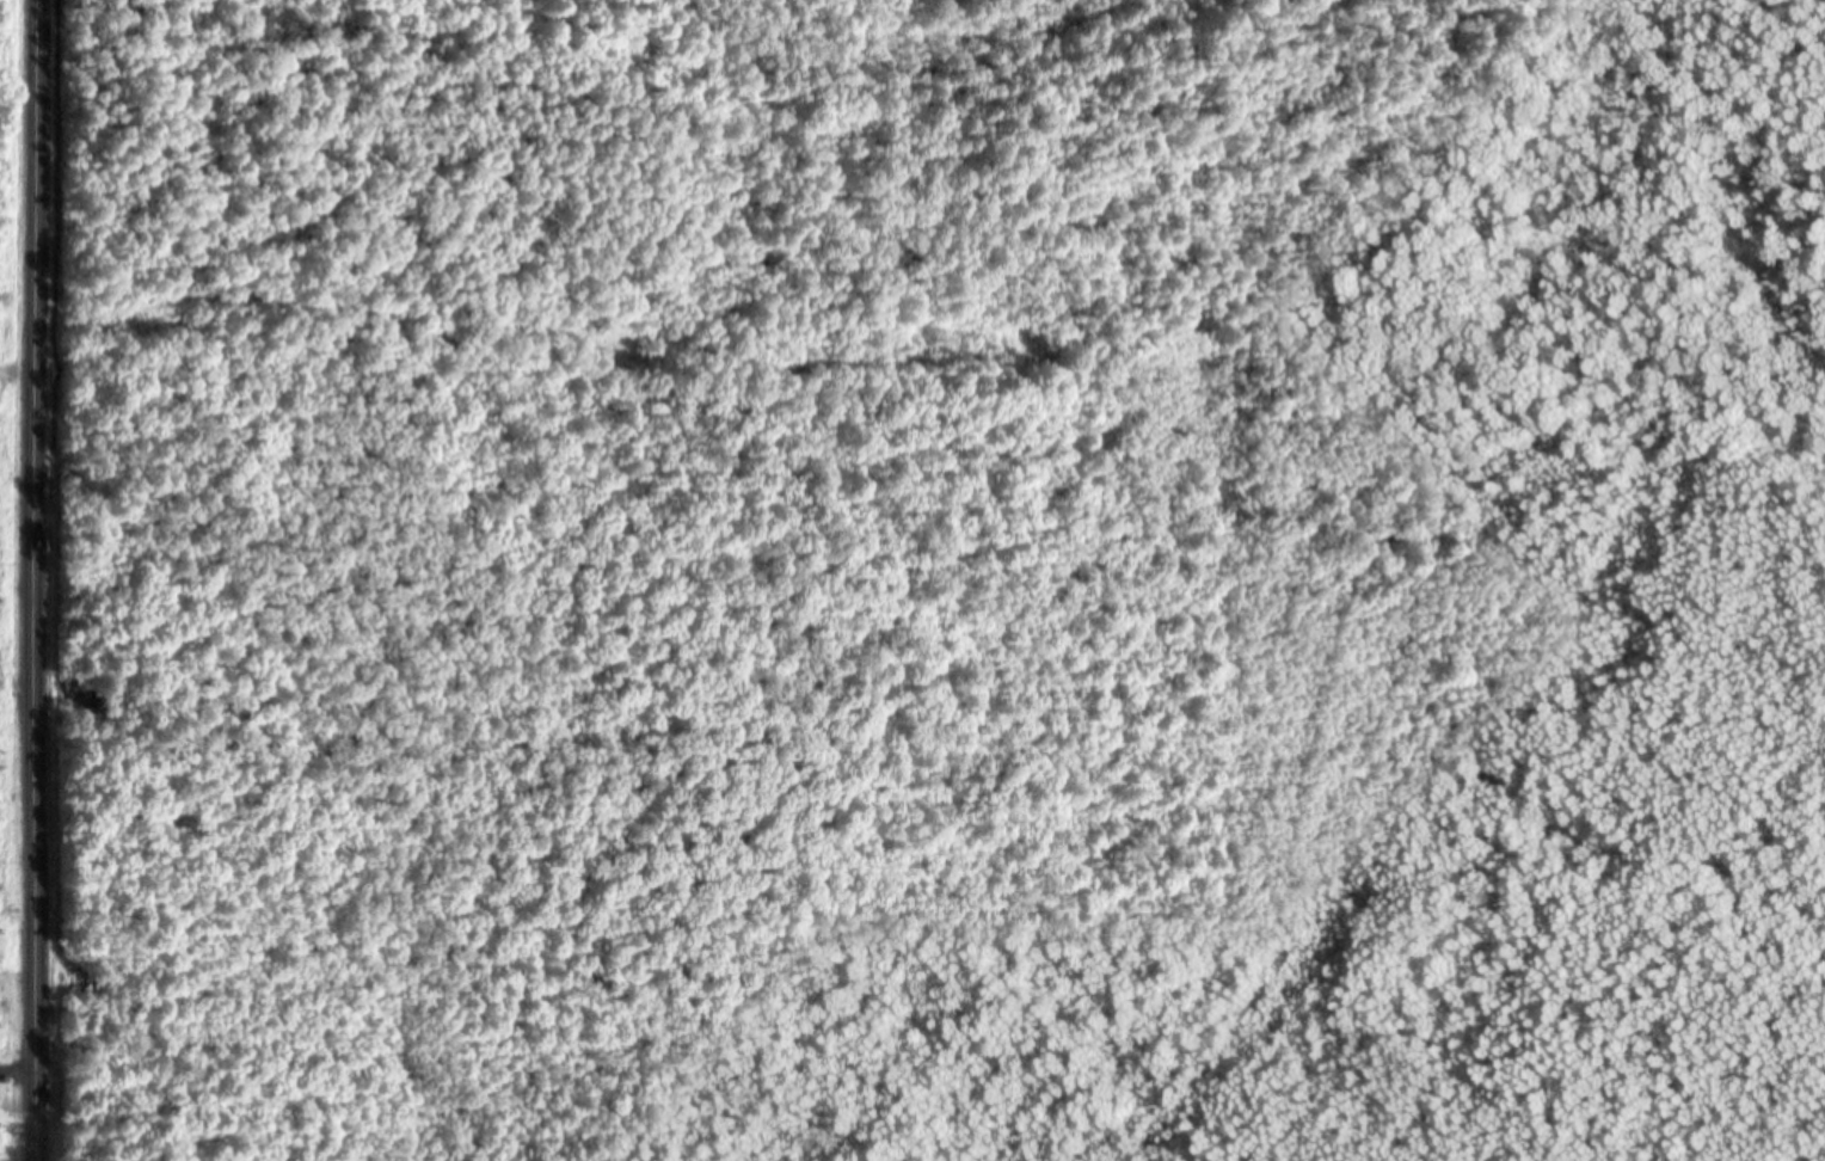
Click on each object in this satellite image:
road: (36, 579)

